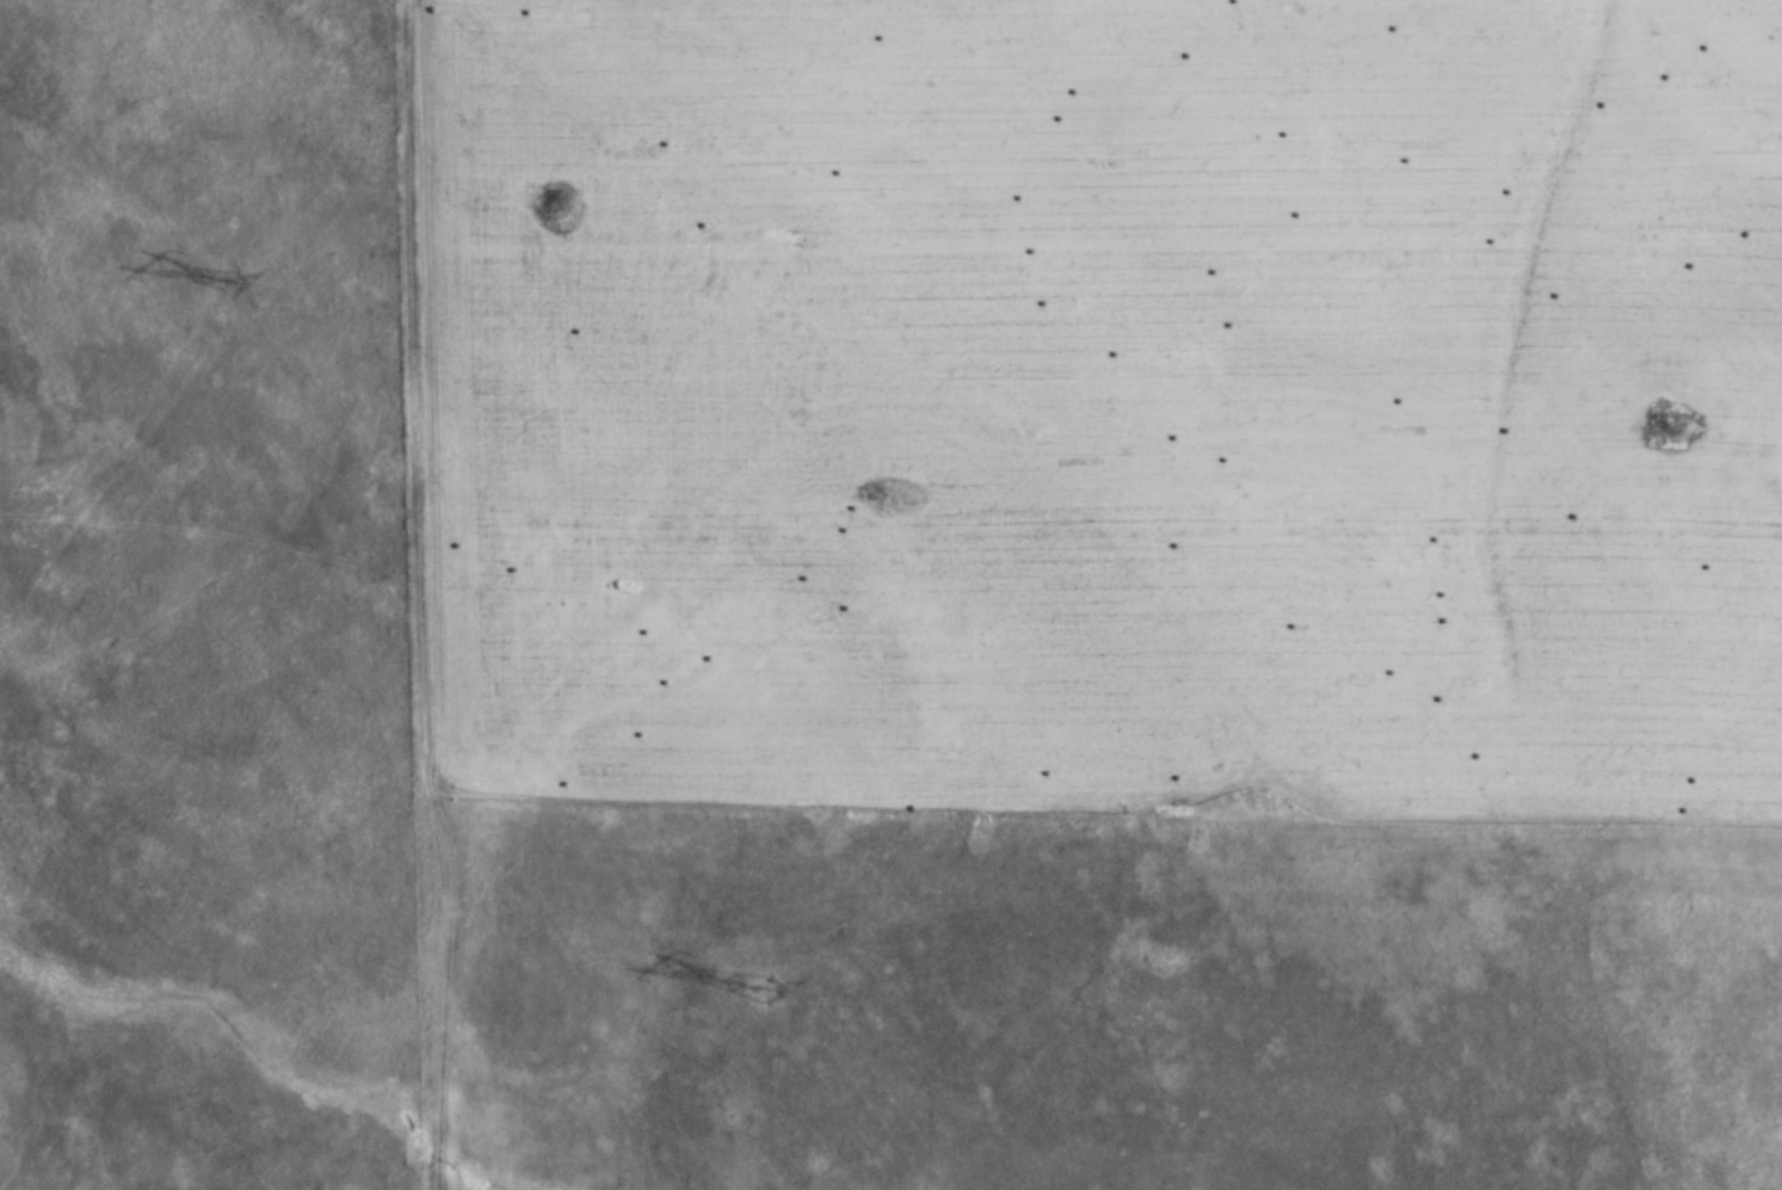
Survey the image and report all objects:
power tower: (223, 288)
power tower: (761, 993)

